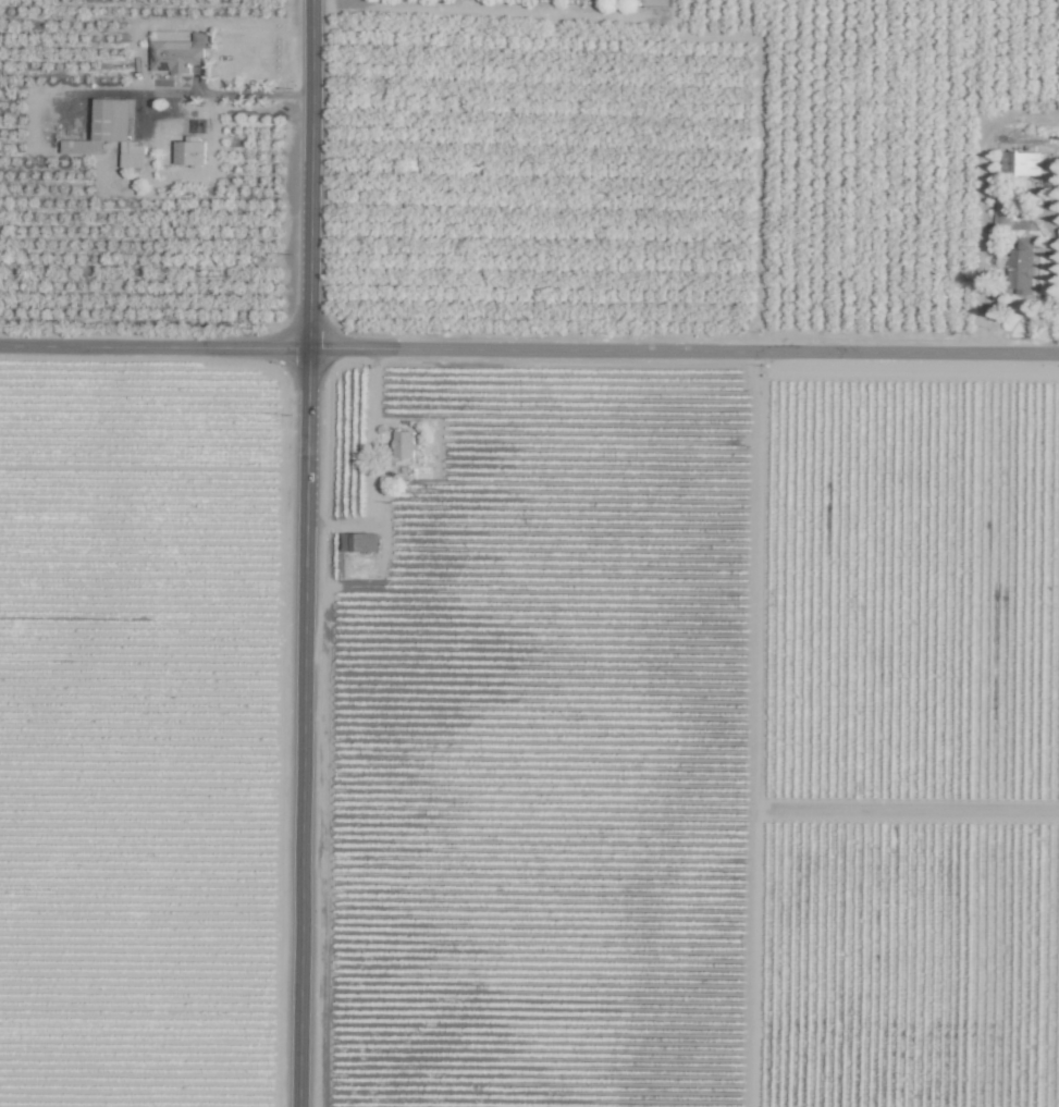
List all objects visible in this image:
building: (178, 53)
road: (197, 94)
building: (111, 133)
building: (189, 152)
building: (1021, 163)
building: (1002, 213)
building: (1021, 268)
road: (529, 348)
building: (404, 444)
building: (359, 541)
road: (306, 553)

